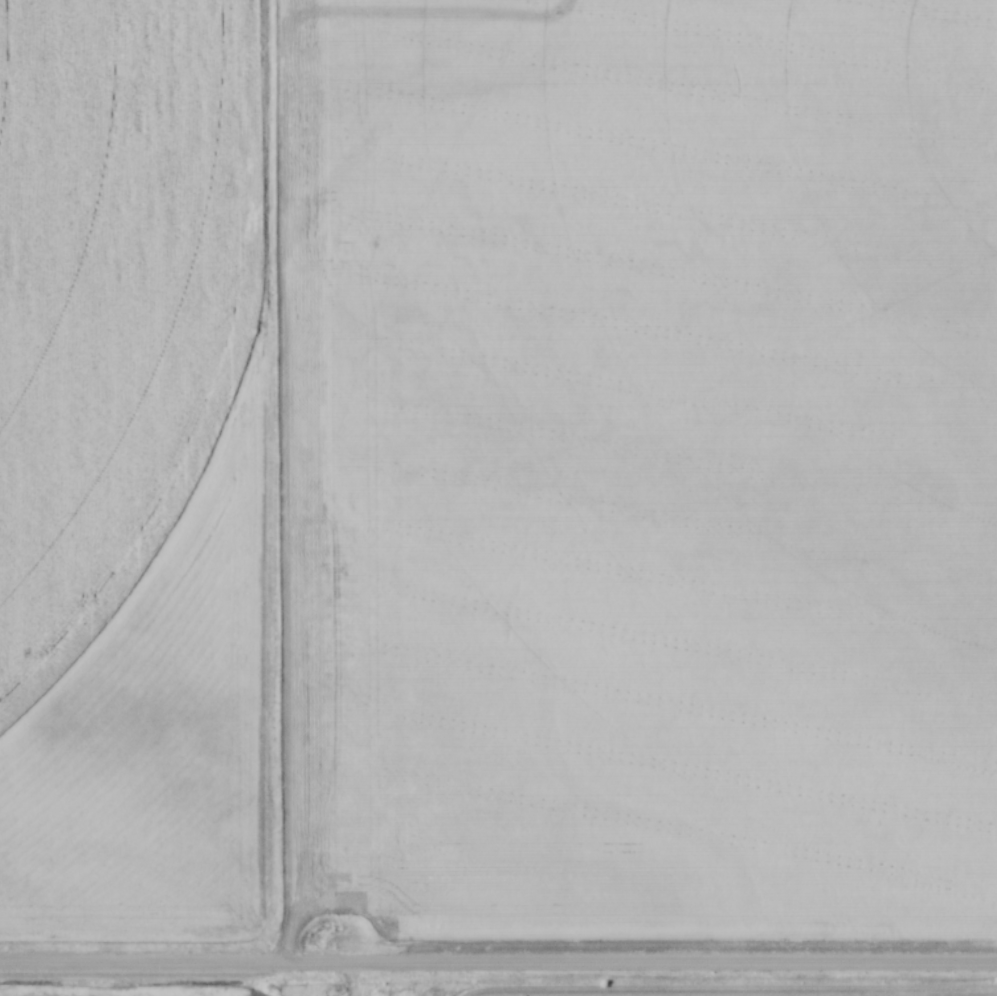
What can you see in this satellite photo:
road: (498, 965)

